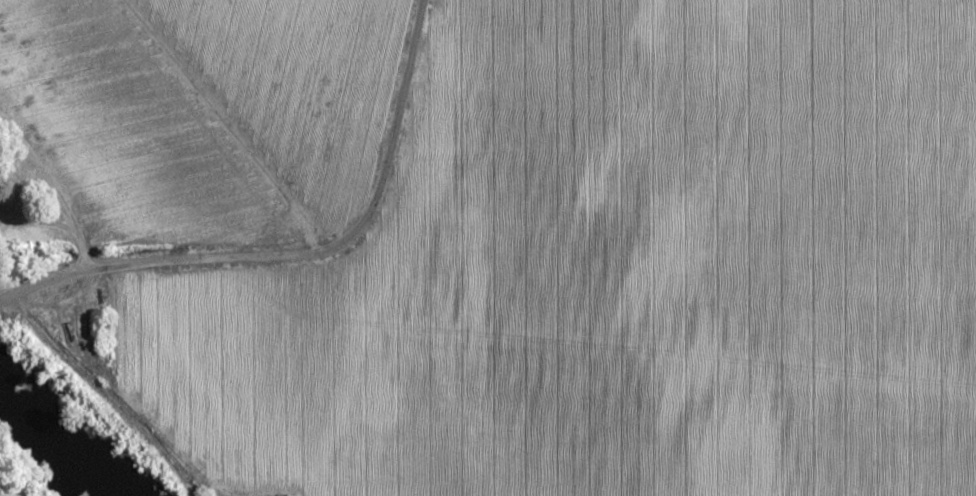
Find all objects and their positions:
road: (299, 255)
road: (102, 394)
river: (64, 434)

